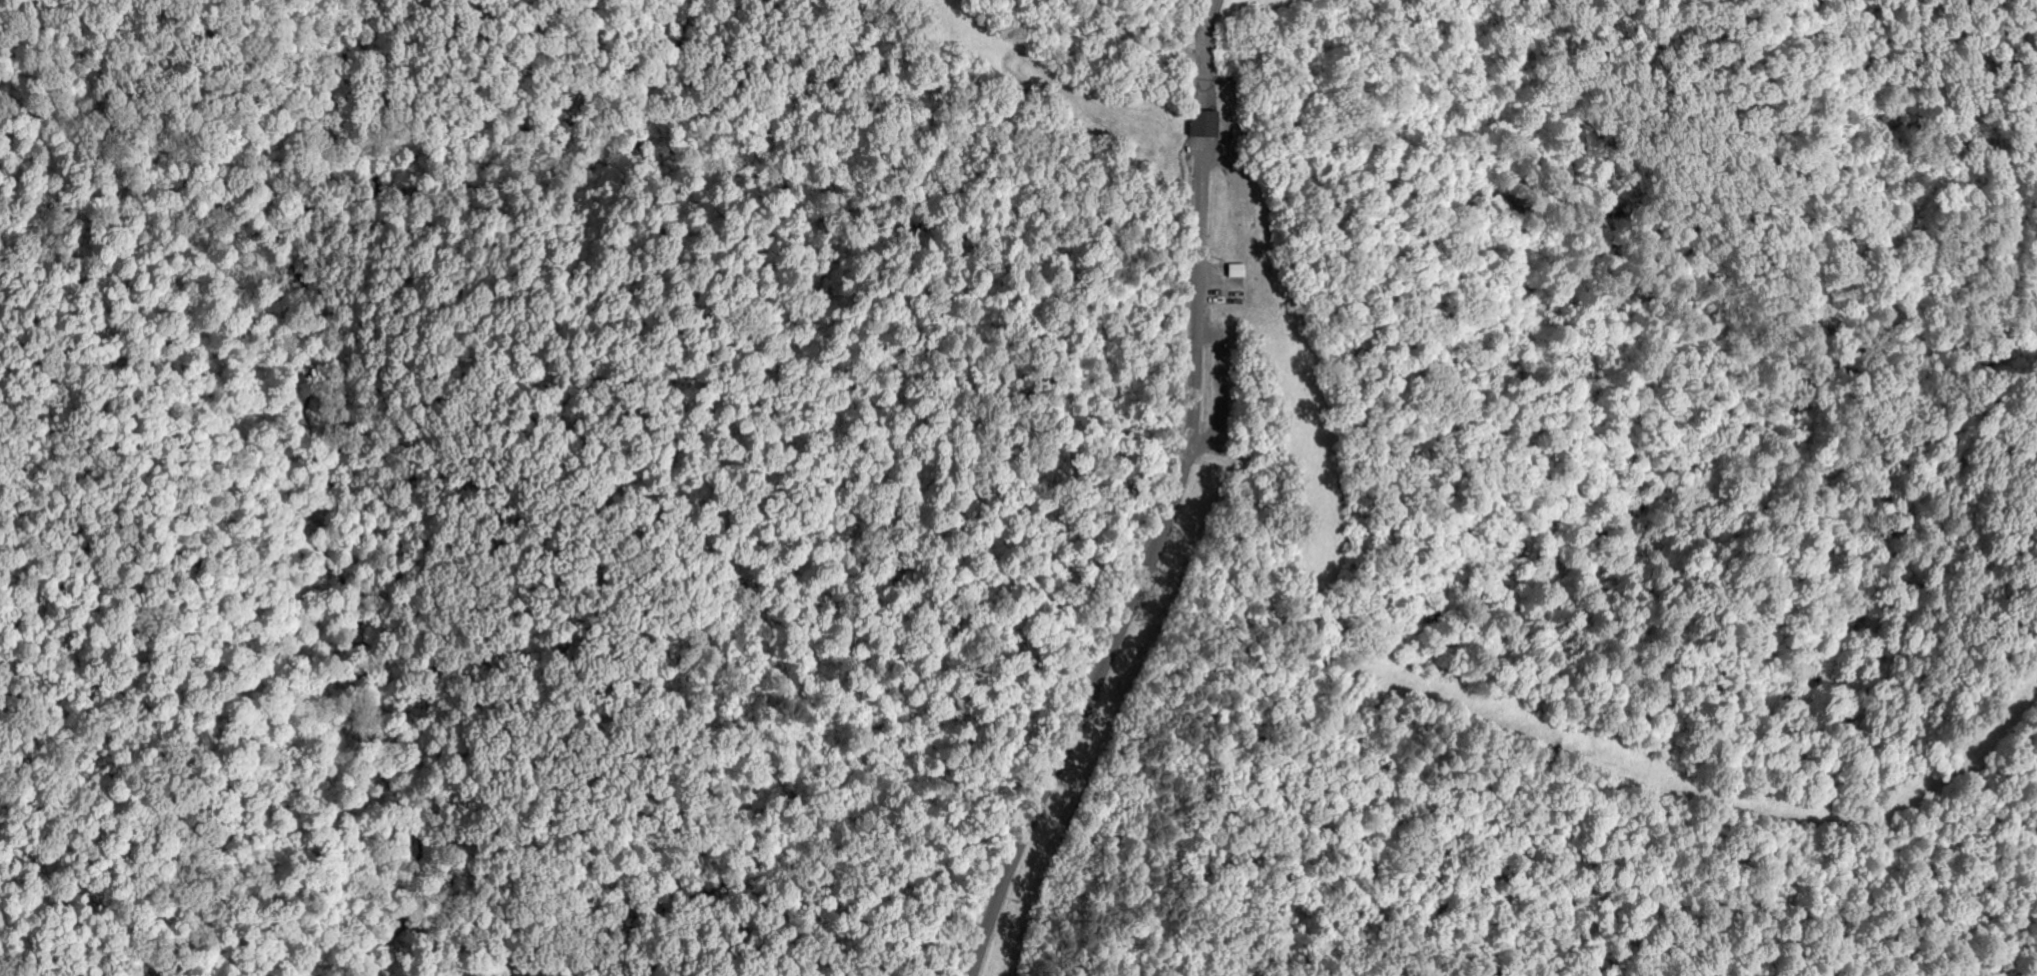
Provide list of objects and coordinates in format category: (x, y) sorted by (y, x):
road: (1208, 57)
building: (1228, 272)
road: (1143, 560)

